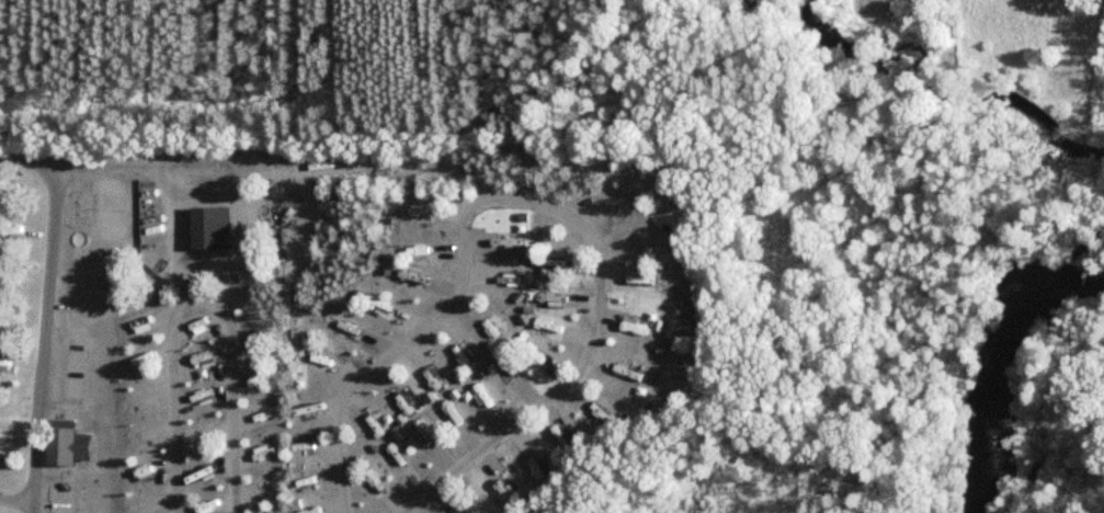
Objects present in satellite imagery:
road: (292, 206)
road: (595, 206)
building: (206, 228)
road: (197, 301)
road: (46, 341)
river: (994, 367)
road: (536, 413)
building: (62, 447)

